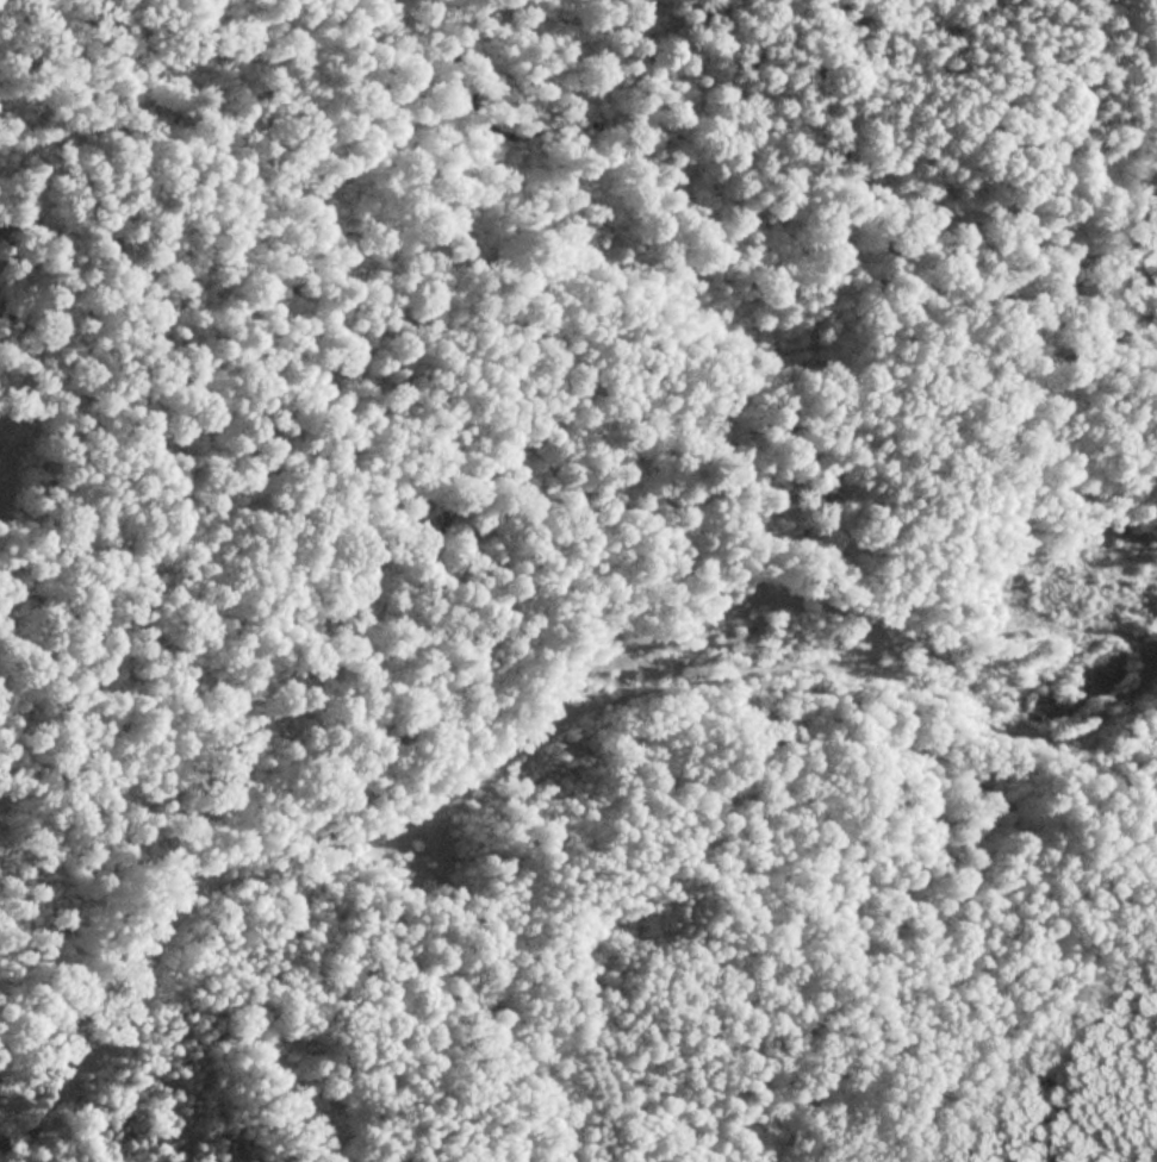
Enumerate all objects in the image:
park: (622, 624)

